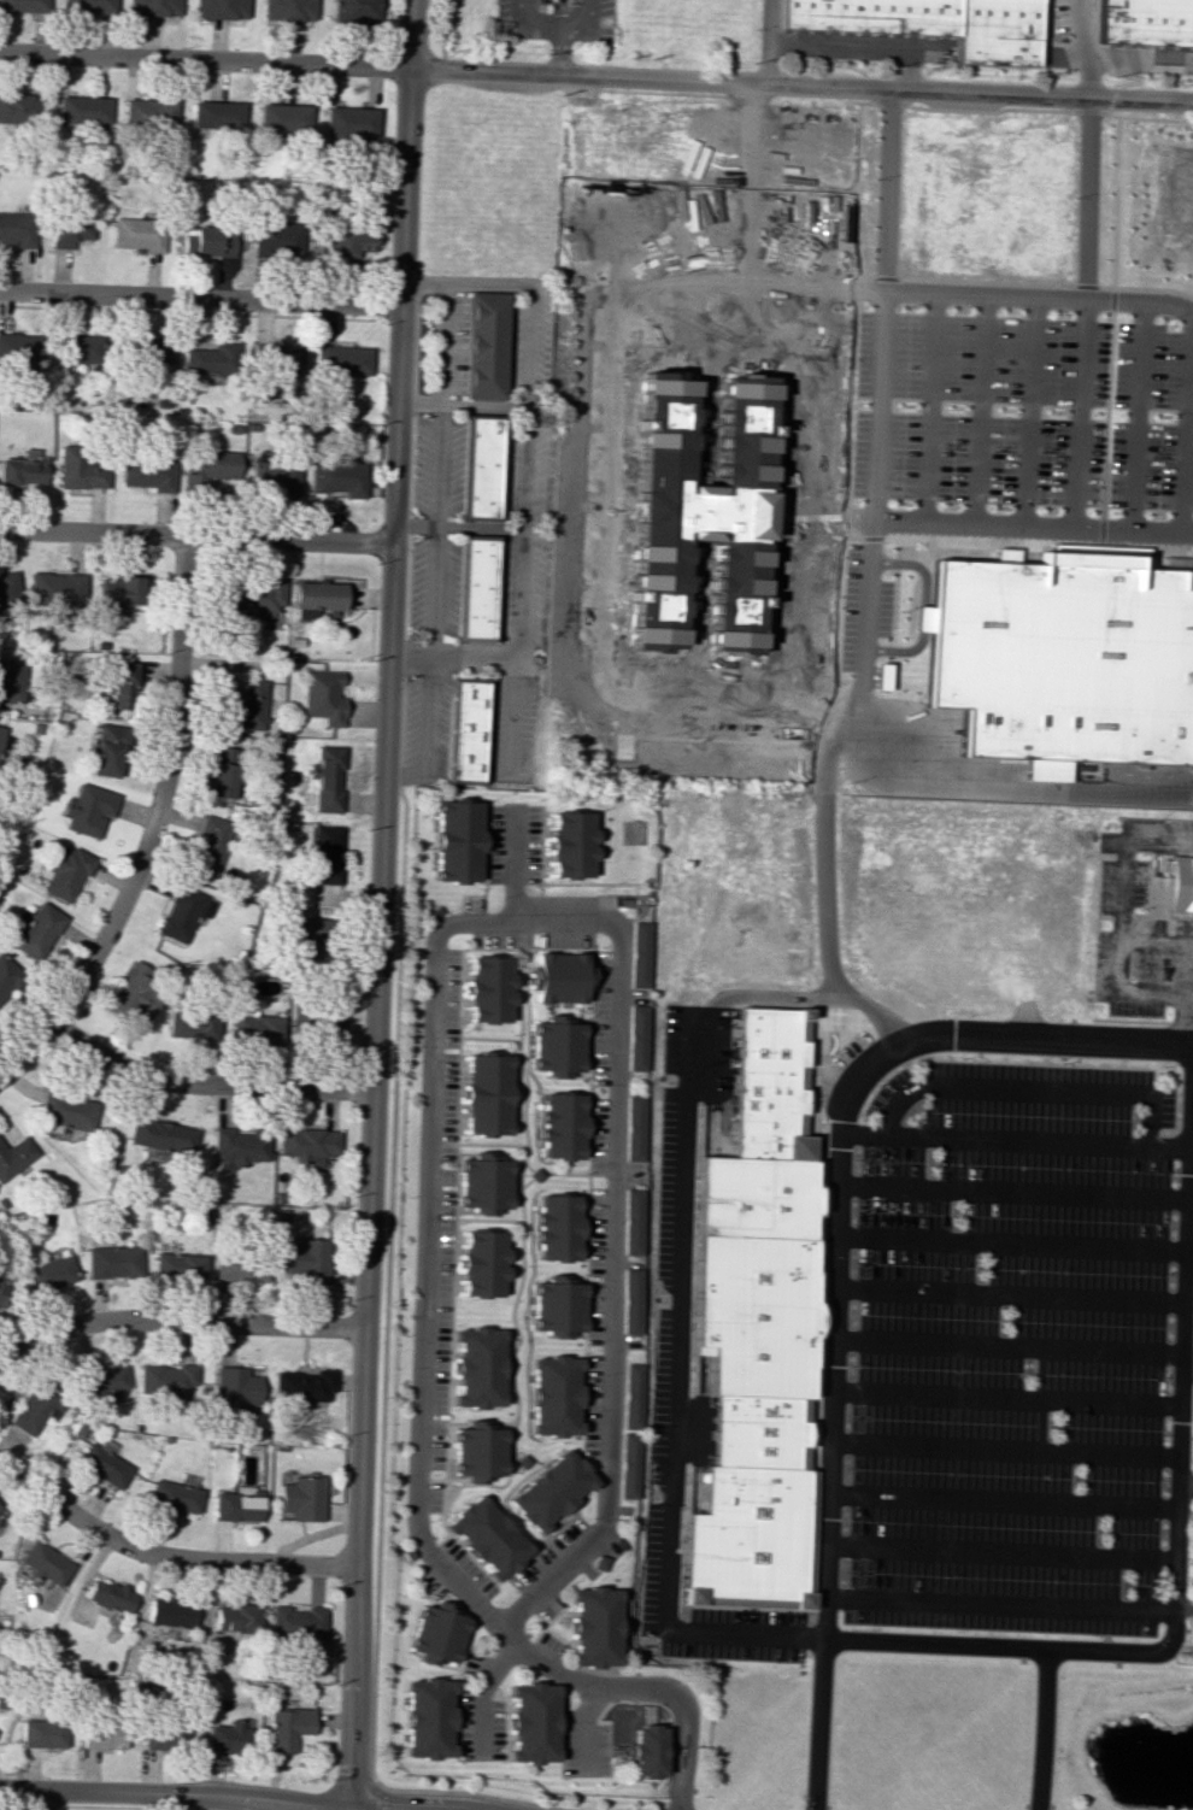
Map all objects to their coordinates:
building: (24, 6)
building: (88, 6)
parking lot: (516, 6)
building: (154, 7)
parking lot: (606, 7)
building: (221, 8)
building: (288, 10)
building: (354, 10)
road: (557, 11)
road: (572, 12)
road: (1048, 16)
parking lot: (1058, 16)
street lamp: (1045, 17)
road: (1093, 20)
building: (1146, 20)
road: (562, 23)
building: (930, 23)
street lamp: (757, 28)
street lamp: (613, 33)
road: (440, 34)
street lamp: (517, 39)
road: (770, 41)
road: (859, 45)
road: (562, 48)
road: (1081, 48)
road: (1060, 54)
road: (1099, 55)
road: (1135, 58)
road: (909, 69)
road: (596, 75)
road: (1133, 76)
road: (1110, 98)
building: (20, 108)
road: (1023, 108)
building: (83, 110)
building: (148, 114)
building: (217, 114)
building: (282, 116)
building: (349, 122)
road: (886, 188)
road: (854, 189)
street lamp: (1070, 196)
road: (1085, 196)
building: (17, 228)
building: (69, 230)
building: (139, 233)
building: (277, 237)
building: (208, 241)
building: (349, 241)
road: (1025, 283)
road: (1040, 295)
road: (201, 298)
street lamp: (905, 305)
street lamp: (965, 310)
street lamp: (995, 311)
street lamp: (1058, 312)
street lamp: (1163, 318)
road: (1106, 329)
road: (442, 340)
building: (484, 345)
building: (19, 346)
building: (80, 348)
building: (148, 349)
building: (212, 358)
building: (278, 359)
building: (343, 360)
road: (846, 383)
road: (419, 399)
street lamp: (901, 406)
road: (925, 406)
parking lot: (975, 409)
road: (976, 409)
road: (1027, 411)
street lamp: (1051, 412)
road: (1076, 412)
road: (1132, 415)
street lamp: (1158, 415)
parking lot: (1146, 423)
road: (1187, 427)
road: (1180, 434)
road: (523, 448)
road: (439, 463)
building: (210, 465)
building: (481, 466)
building: (23, 469)
building: (81, 469)
building: (149, 474)
building: (340, 475)
building: (274, 477)
road: (872, 480)
street lamp: (898, 501)
street lamp: (997, 506)
street lamp: (1110, 512)
building: (700, 513)
road: (413, 525)
road: (477, 527)
road: (1032, 527)
road: (195, 535)
road: (1012, 541)
building: (57, 587)
building: (476, 587)
building: (7, 589)
building: (123, 592)
building: (251, 597)
building: (317, 597)
parking lot: (851, 606)
road: (923, 607)
parking lot: (886, 609)
street lamp: (900, 611)
road: (835, 617)
road: (894, 628)
road: (429, 646)
building: (1064, 659)
road: (506, 660)
parking lot: (882, 676)
building: (883, 676)
building: (12, 681)
building: (121, 686)
building: (323, 697)
building: (245, 707)
building: (466, 730)
building: (5, 746)
building: (108, 750)
building: (223, 772)
road: (404, 775)
building: (327, 778)
street lamp: (856, 781)
road: (1005, 789)
building: (88, 809)
street lamp: (1165, 815)
road: (153, 824)
road: (828, 830)
building: (457, 841)
building: (570, 844)
building: (208, 846)
building: (325, 853)
street lamp: (1141, 853)
building: (64, 870)
building: (1181, 883)
road: (377, 904)
street lamp: (1139, 910)
road: (1160, 911)
building: (183, 913)
parking lot: (1122, 916)
road: (1122, 917)
building: (37, 930)
building: (307, 936)
road: (1157, 941)
building: (641, 954)
street lamp: (1134, 966)
street lamp: (1187, 969)
building: (8, 975)
building: (559, 977)
building: (489, 989)
building: (133, 993)
road: (819, 998)
building: (321, 1021)
road: (1132, 1021)
road: (1191, 1022)
building: (192, 1023)
road: (1182, 1023)
building: (254, 1026)
building: (639, 1038)
building: (557, 1046)
building: (771, 1082)
road: (200, 1083)
road: (1029, 1092)
building: (486, 1094)
building: (66, 1109)
road: (1192, 1110)
building: (560, 1126)
building: (635, 1128)
building: (161, 1135)
road: (1013, 1140)
building: (307, 1144)
building: (239, 1146)
building: (14, 1157)
building: (481, 1183)
road: (836, 1185)
road: (1012, 1192)
building: (754, 1195)
building: (631, 1221)
building: (556, 1228)
road: (1010, 1245)
road: (1188, 1253)
building: (308, 1259)
building: (113, 1262)
building: (478, 1264)
building: (178, 1265)
building: (237, 1265)
road: (427, 1267)
building: (49, 1273)
building: (5, 1294)
road: (610, 1295)
road: (1009, 1295)
building: (629, 1300)
building: (554, 1306)
building: (752, 1311)
road: (176, 1321)
road: (1006, 1347)
parking lot: (1009, 1350)
road: (1186, 1363)
building: (476, 1367)
building: (165, 1377)
building: (101, 1380)
building: (699, 1380)
building: (302, 1385)
building: (234, 1387)
building: (552, 1394)
building: (629, 1395)
road: (676, 1395)
road: (1004, 1398)
building: (31, 1409)
building: (752, 1430)
building: (476, 1452)
road: (1001, 1452)
building: (102, 1465)
building: (627, 1465)
road: (1183, 1488)
building: (548, 1489)
building: (172, 1495)
building: (301, 1498)
road: (1000, 1503)
building: (235, 1506)
building: (745, 1534)
road: (1173, 1534)
building: (486, 1536)
road: (998, 1553)
road: (164, 1557)
building: (42, 1562)
building: (107, 1595)
road: (997, 1604)
road: (1191, 1604)
road: (1181, 1606)
building: (169, 1612)
building: (236, 1618)
building: (295, 1622)
building: (593, 1627)
building: (436, 1634)
road: (482, 1692)
building: (428, 1717)
building: (531, 1722)
road: (583, 1726)
road: (817, 1726)
building: (286, 1728)
road: (688, 1728)
road: (1036, 1729)
building: (41, 1732)
building: (101, 1734)
building: (164, 1735)
road: (678, 1735)
building: (230, 1738)
building: (645, 1750)
road: (687, 1774)
road: (675, 1780)
road: (171, 1793)
road: (41, 1800)
road: (172, 1802)

